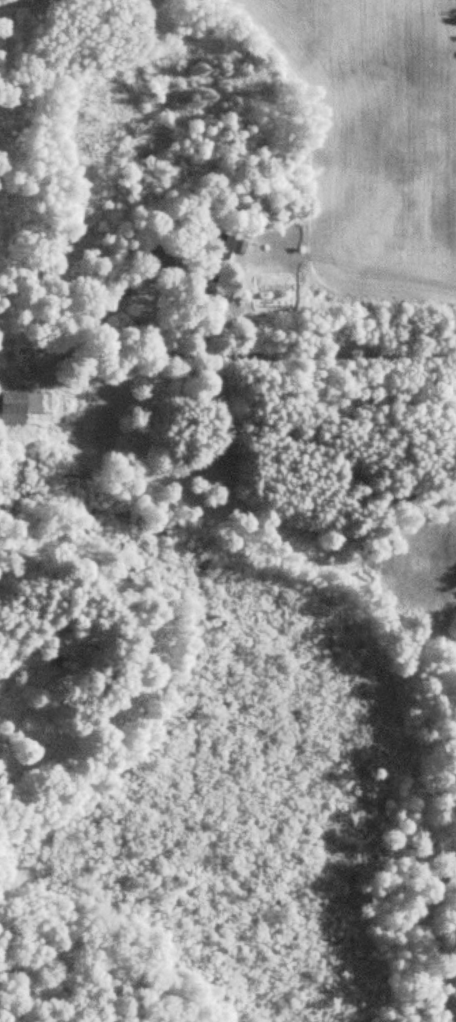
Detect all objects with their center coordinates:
building: (219, 244)
building: (20, 406)

